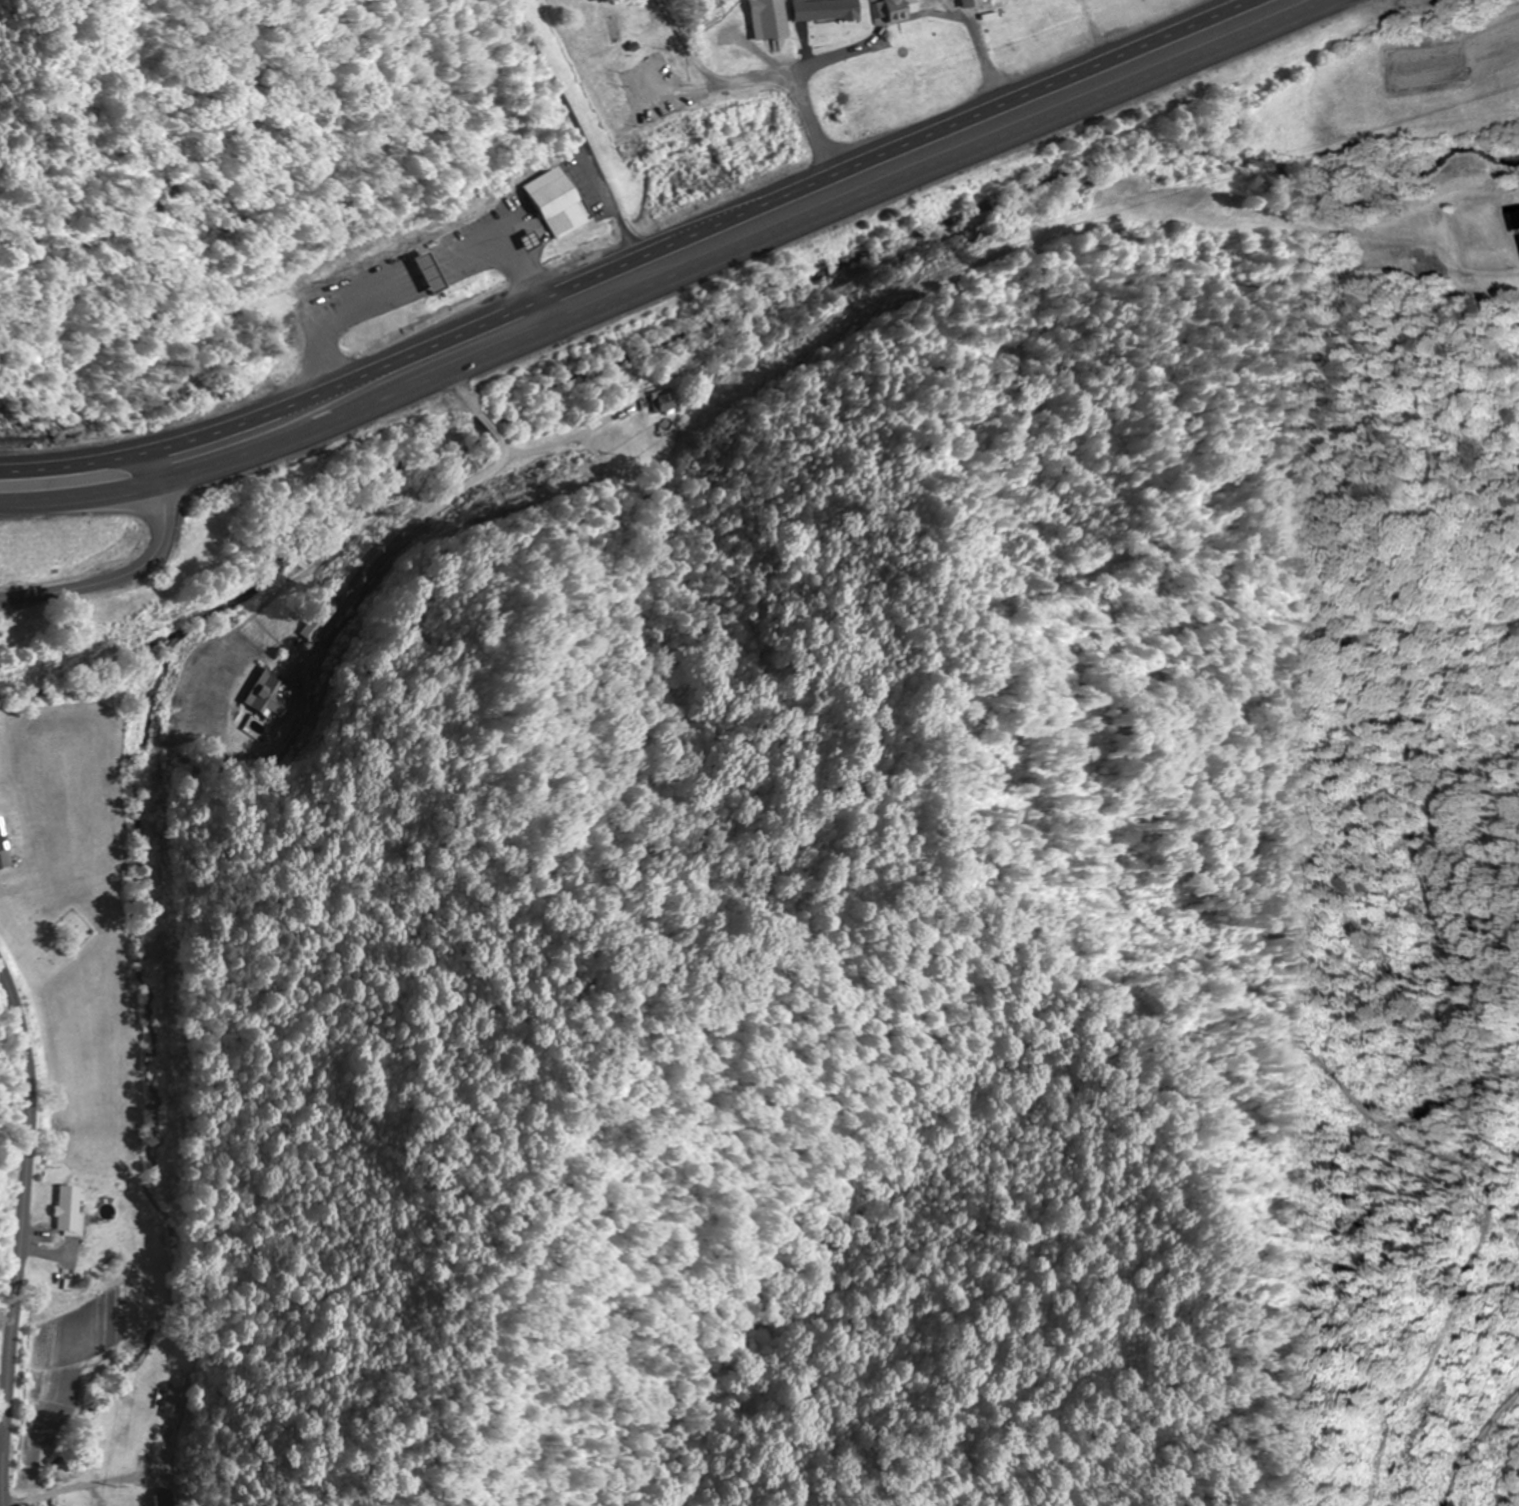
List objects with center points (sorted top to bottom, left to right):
building: (970, 3)
building: (825, 10)
building: (895, 10)
building: (768, 19)
building: (554, 203)
building: (1516, 220)
building: (1518, 236)
road: (625, 259)
building: (1401, 260)
building: (427, 273)
road: (671, 282)
building: (664, 402)
road: (132, 569)
building: (272, 697)
building: (7, 838)
building: (75, 1209)
road: (25, 1234)
building: (173, 1402)
road: (2, 1442)
road: (89, 1482)
building: (167, 1500)

